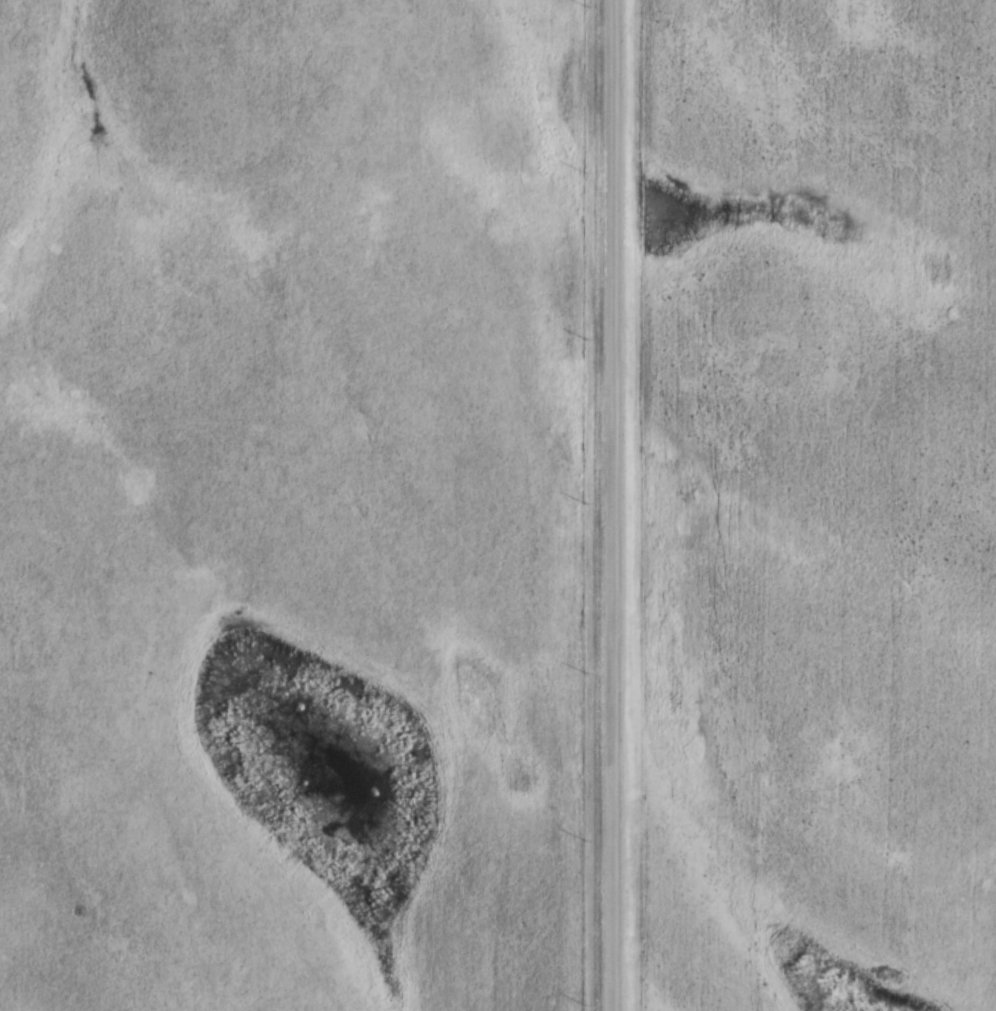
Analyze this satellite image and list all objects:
road: (625, 505)

